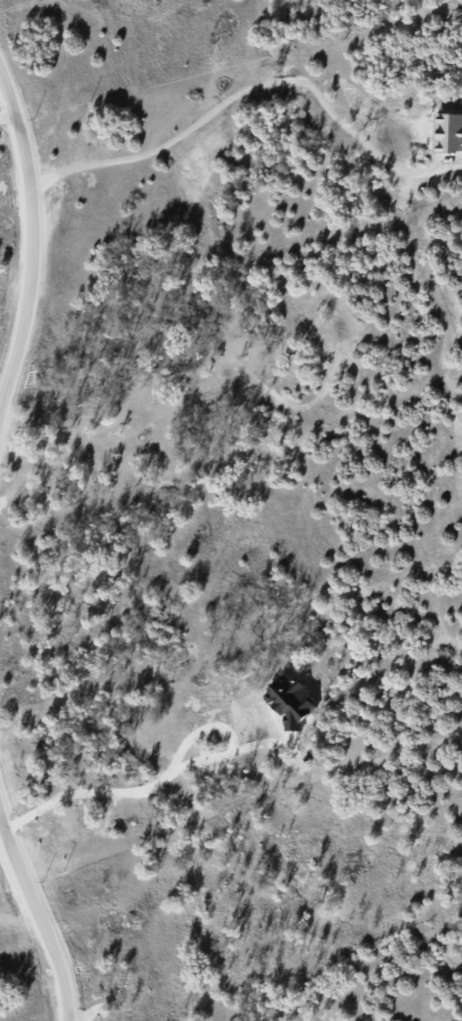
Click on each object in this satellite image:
road: (7, 112)
road: (25, 228)
building: (291, 704)
road: (122, 793)
road: (33, 917)

